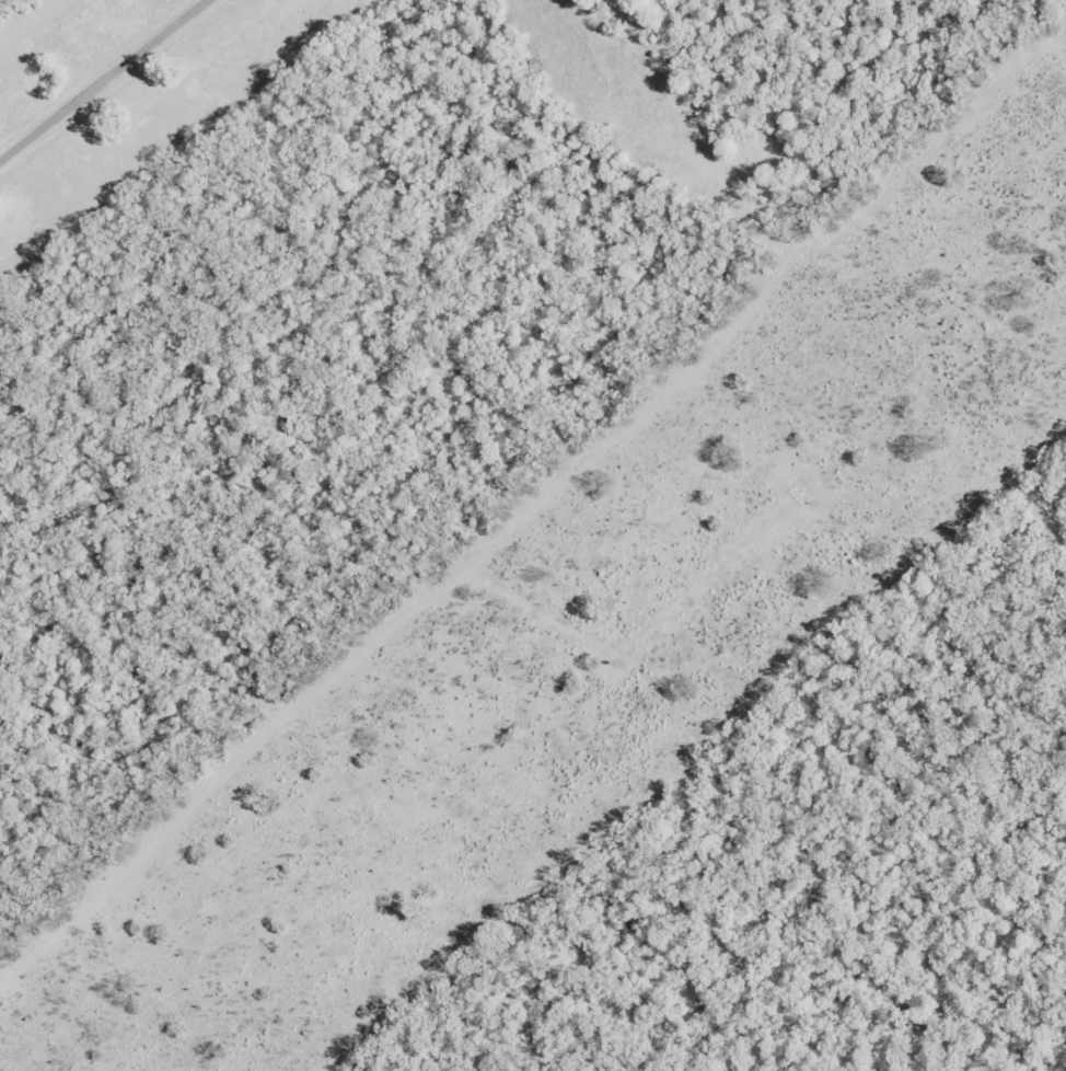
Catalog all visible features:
road: (148, 133)

